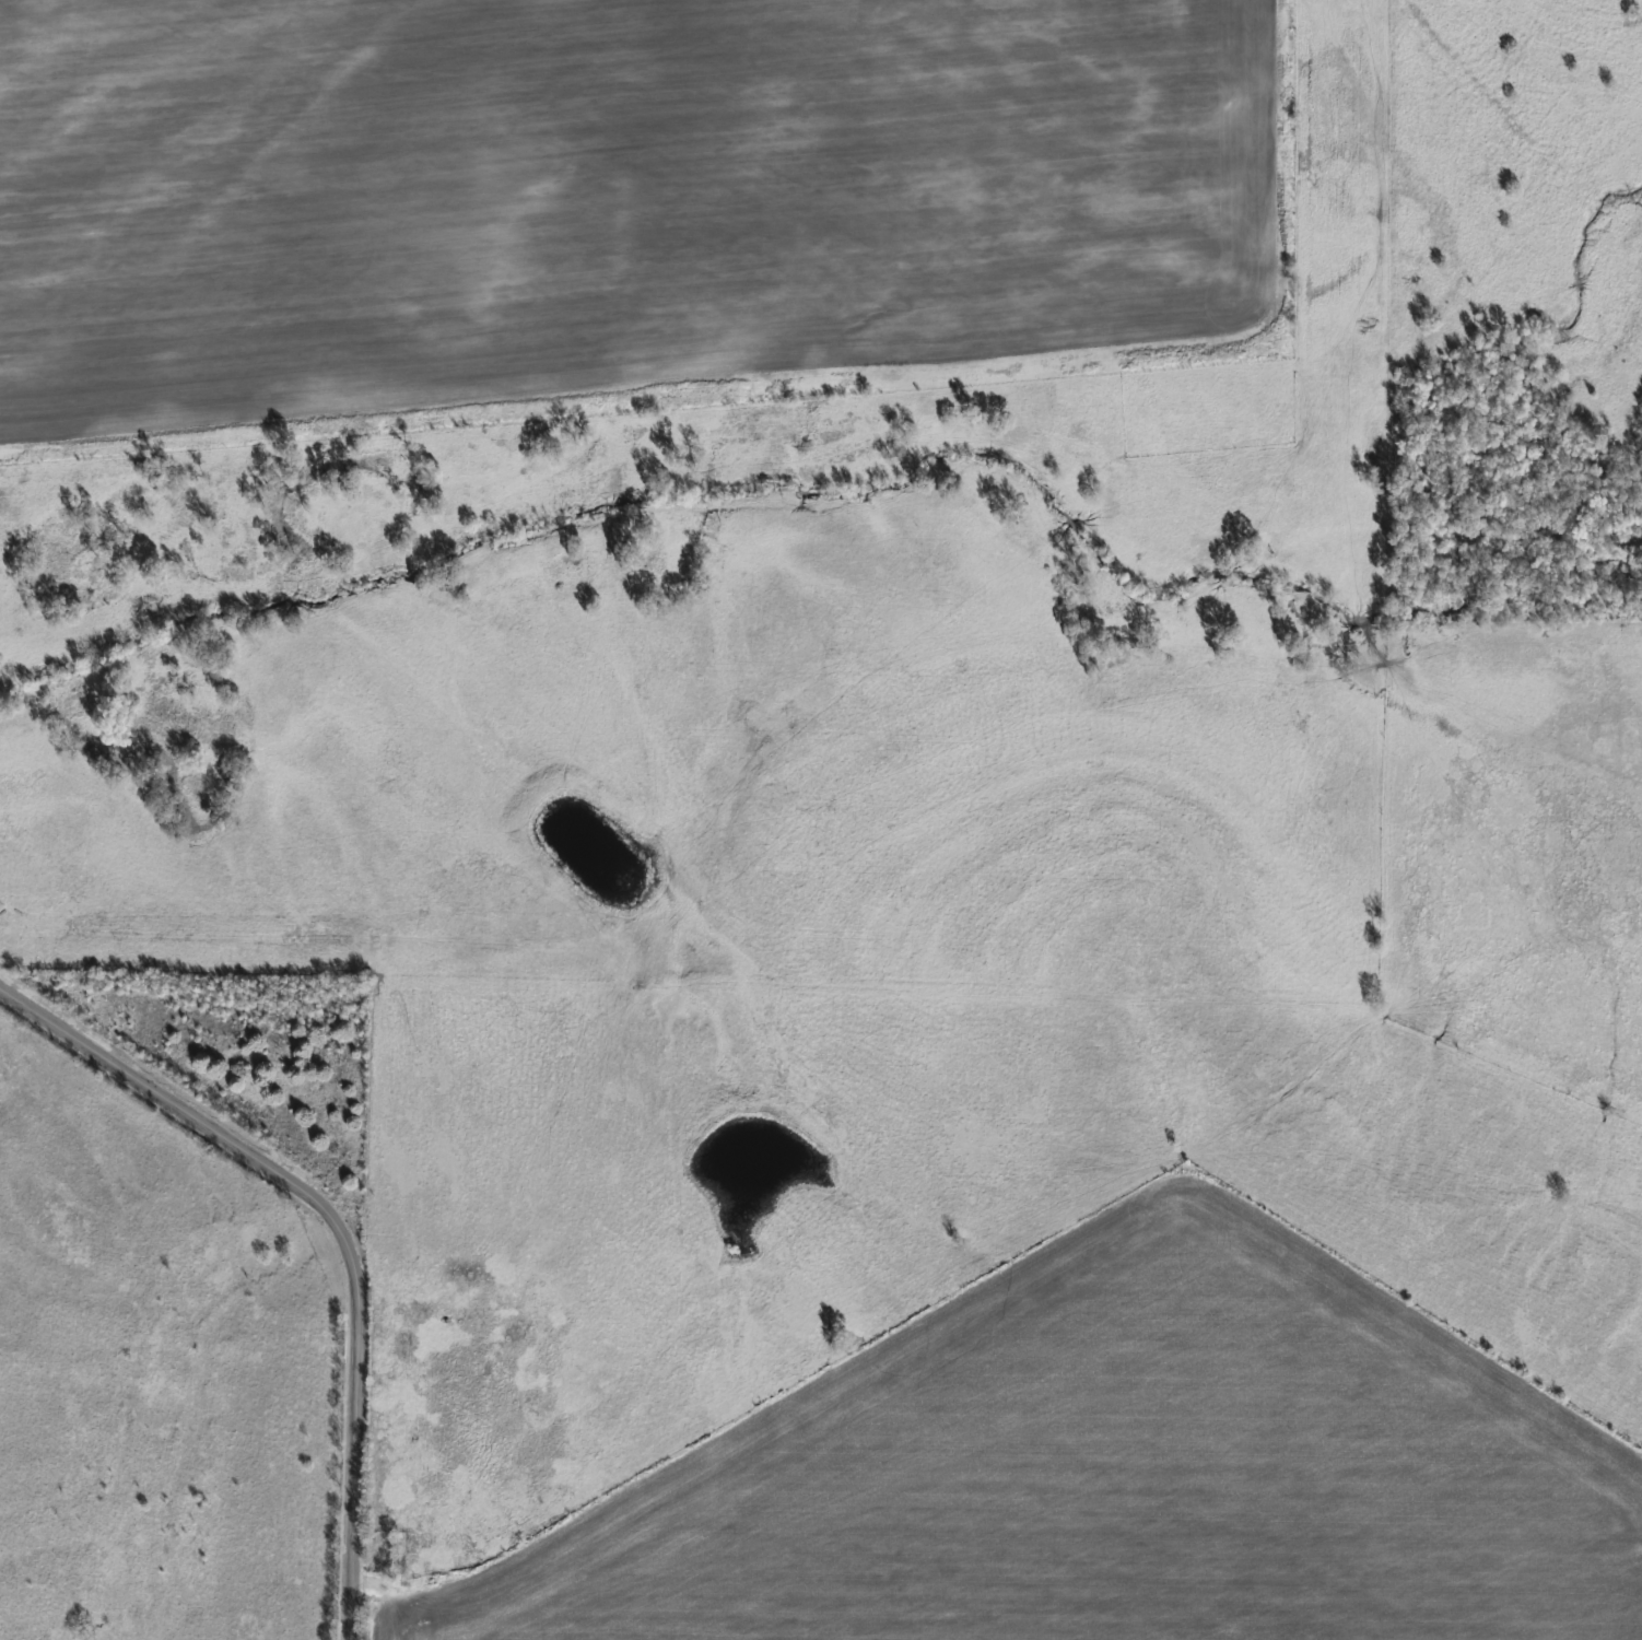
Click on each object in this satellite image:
road: (341, 1229)

